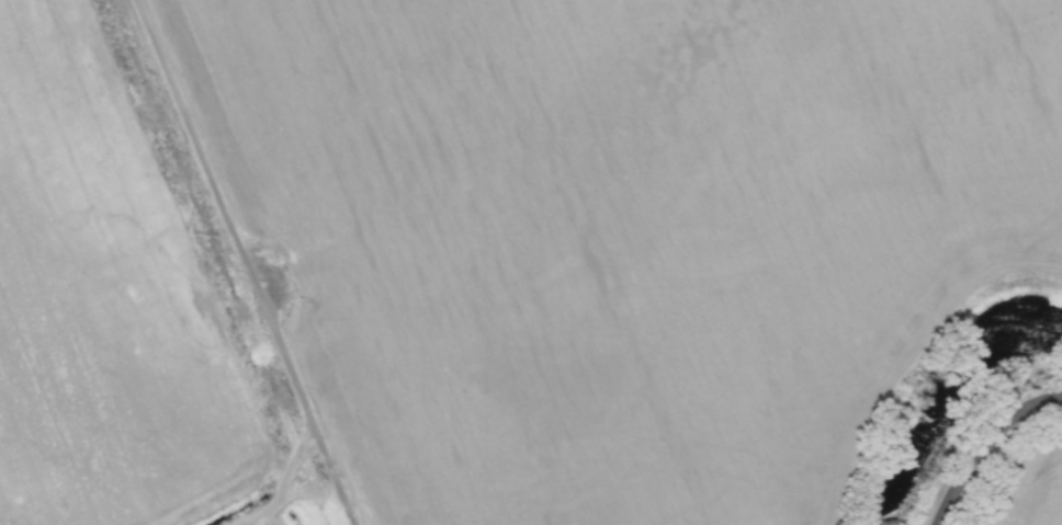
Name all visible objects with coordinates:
road: (224, 212)
crop: (621, 230)
crop: (100, 298)
road: (982, 442)
road: (331, 475)
road: (283, 482)
crop: (1036, 493)

